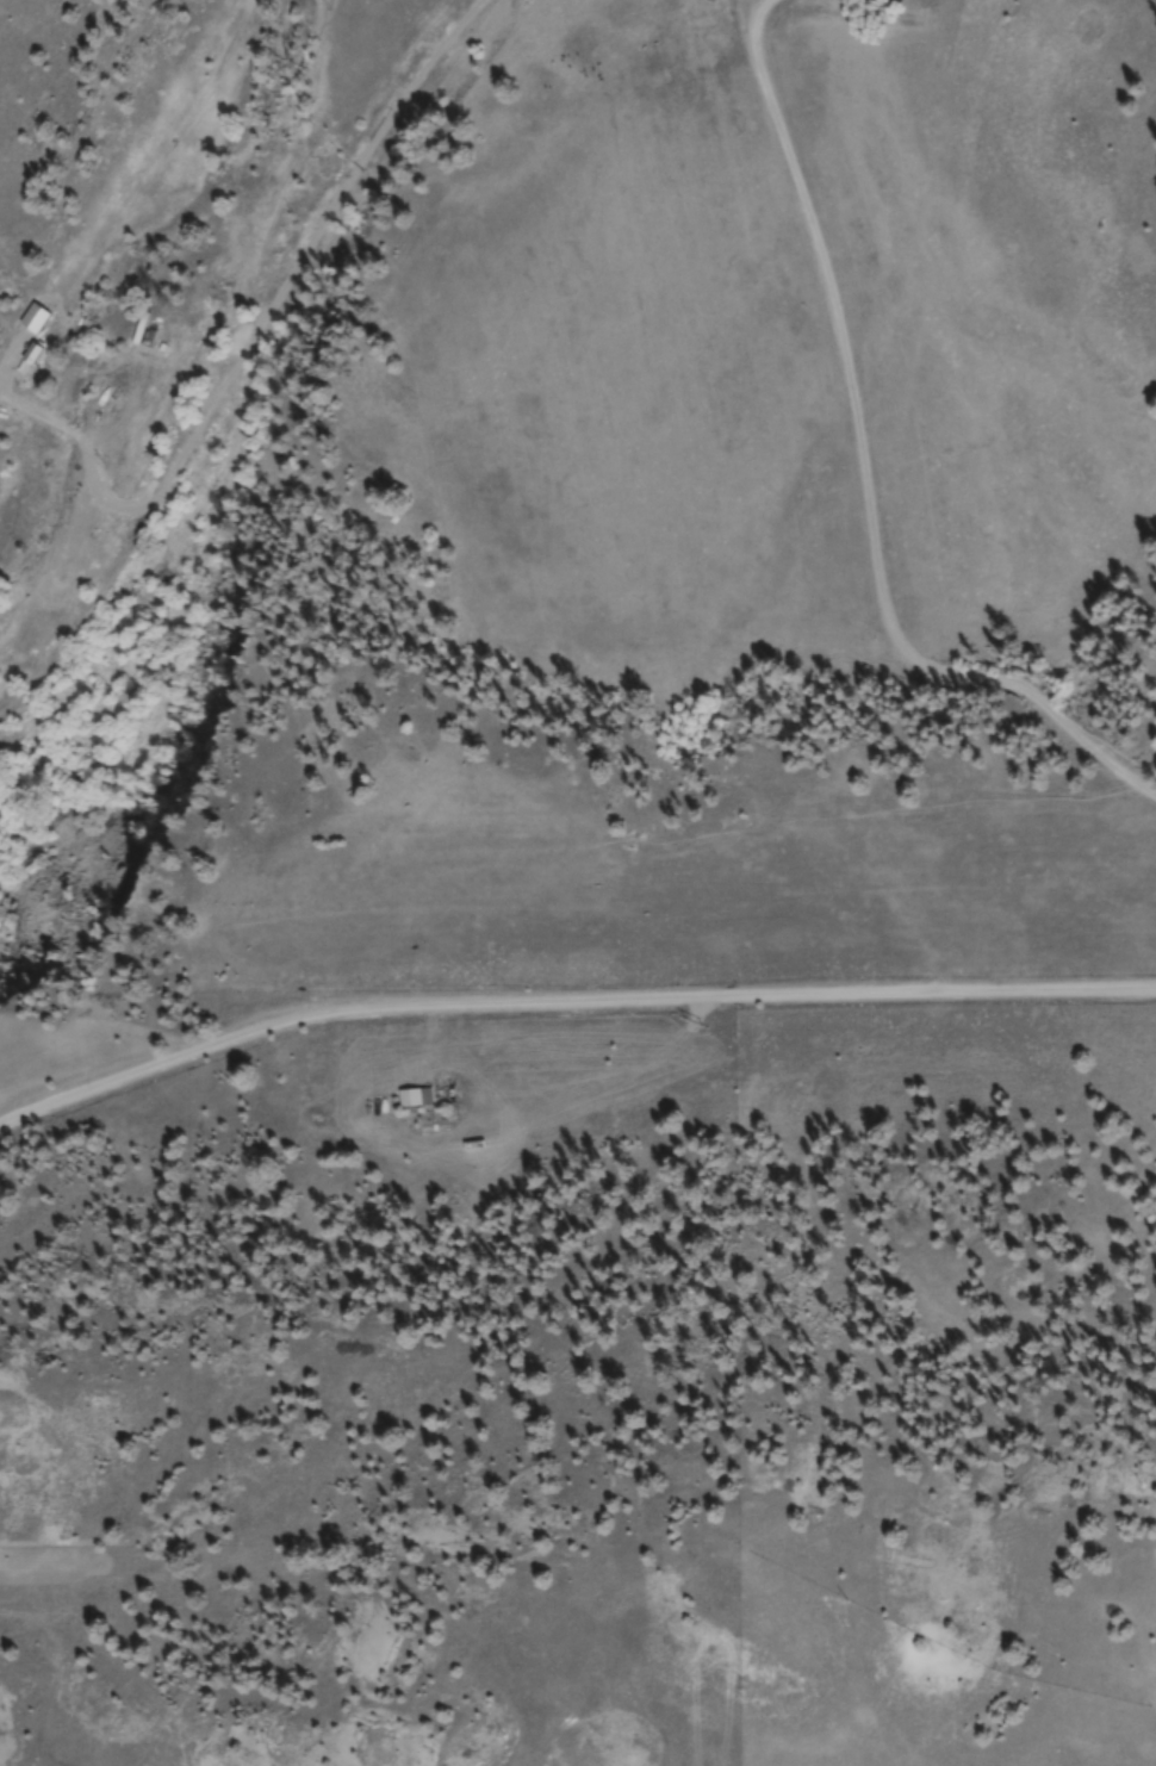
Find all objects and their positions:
road: (866, 464)
road: (568, 1002)
building: (418, 1101)

